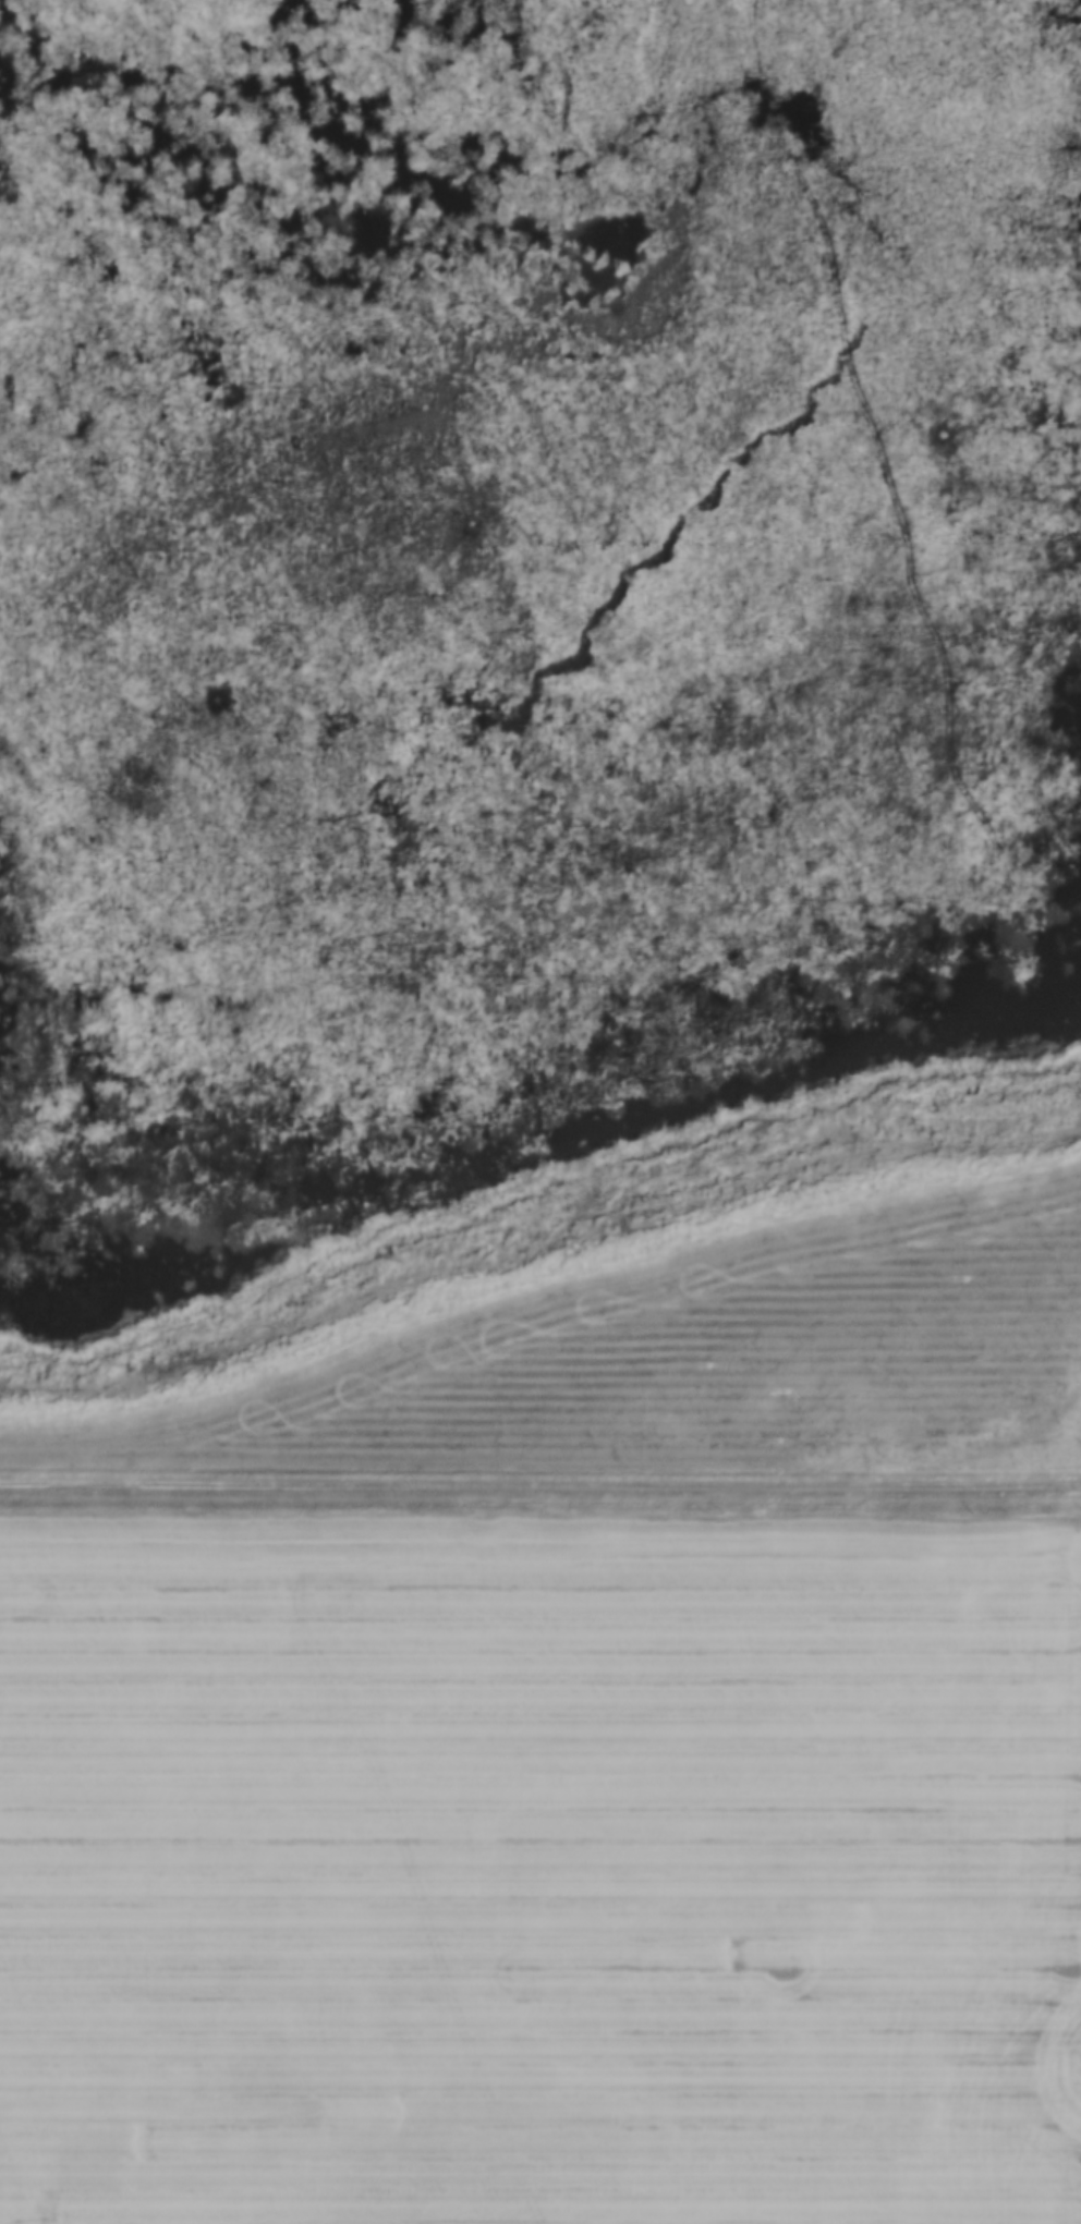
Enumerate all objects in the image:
road: (540, 1480)

